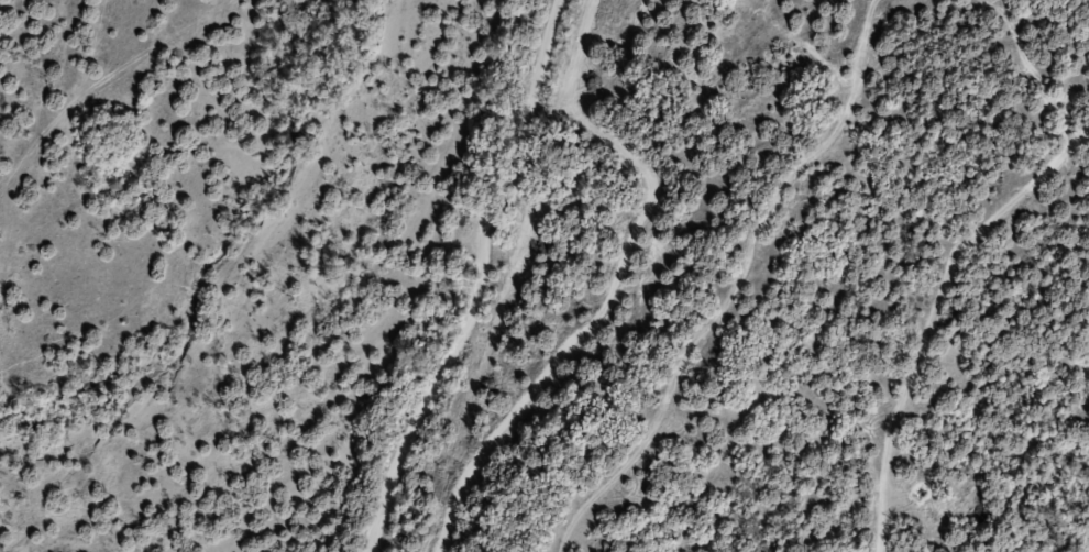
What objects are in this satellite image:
road: (1033, 503)

